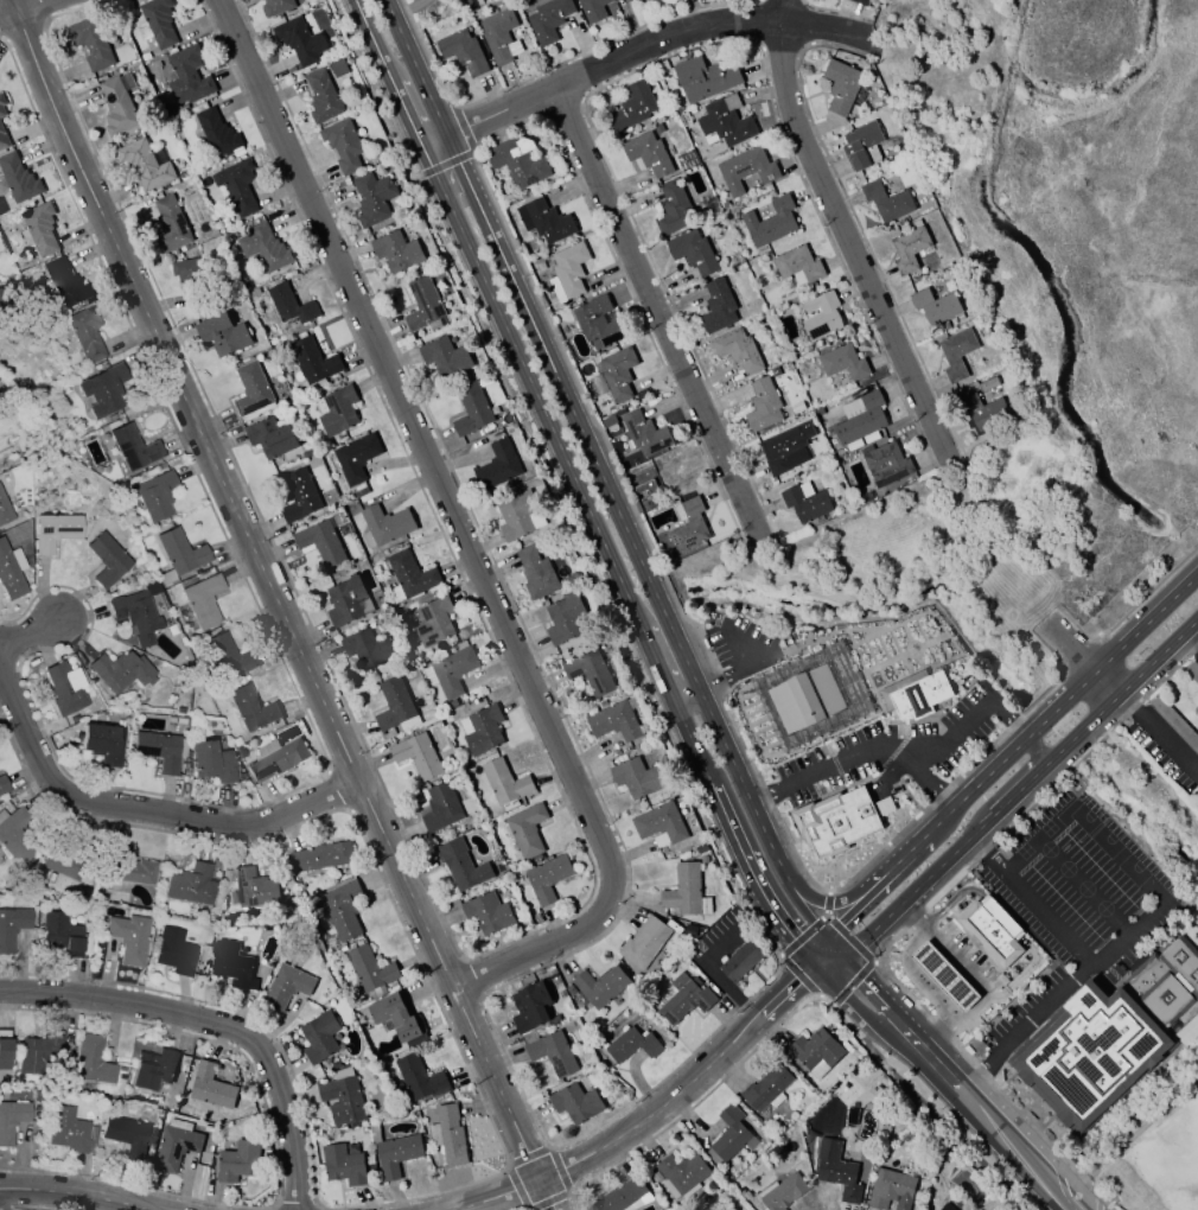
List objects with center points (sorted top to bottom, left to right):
building: (531, 0)
building: (641, 0)
building: (643, 1)
building: (861, 2)
road: (25, 7)
building: (275, 7)
building: (593, 9)
building: (550, 20)
building: (157, 23)
building: (498, 34)
building: (299, 40)
building: (90, 43)
building: (461, 51)
road: (635, 52)
building: (338, 68)
building: (186, 76)
building: (703, 78)
building: (840, 85)
building: (321, 96)
building: (1, 104)
building: (119, 104)
building: (632, 107)
building: (725, 121)
building: (217, 134)
building: (2, 139)
building: (343, 145)
building: (860, 145)
building: (648, 153)
building: (144, 164)
building: (517, 164)
building: (745, 170)
building: (18, 179)
building: (236, 185)
building: (372, 198)
building: (886, 200)
building: (671, 208)
building: (544, 221)
building: (770, 222)
building: (170, 224)
building: (39, 229)
road: (845, 230)
building: (263, 248)
building: (909, 248)
building: (396, 251)
building: (693, 251)
building: (797, 265)
building: (186, 272)
building: (567, 272)
building: (64, 284)
building: (0, 292)
building: (422, 304)
building: (289, 305)
building: (935, 306)
road: (658, 307)
building: (716, 307)
building: (820, 316)
building: (594, 320)
building: (85, 332)
building: (222, 335)
building: (737, 350)
building: (956, 354)
building: (445, 357)
building: (842, 362)
building: (313, 363)
building: (614, 375)
building: (988, 383)
building: (103, 390)
building: (251, 393)
building: (763, 405)
building: (470, 409)
building: (336, 410)
building: (982, 412)
building: (862, 419)
building: (607, 421)
road: (580, 434)
building: (644, 434)
building: (270, 438)
building: (133, 447)
building: (786, 448)
building: (356, 456)
building: (885, 464)
building: (497, 465)
building: (5, 476)
road: (575, 488)
building: (644, 488)
building: (299, 495)
building: (155, 496)
building: (804, 503)
building: (5, 510)
building: (516, 517)
building: (688, 523)
building: (384, 526)
road: (458, 529)
building: (53, 531)
building: (320, 541)
building: (180, 552)
building: (107, 560)
building: (11, 572)
building: (536, 573)
building: (409, 578)
building: (202, 600)
building: (344, 600)
road: (279, 606)
building: (138, 612)
building: (565, 619)
building: (432, 620)
road: (31, 636)
road: (1191, 639)
building: (367, 649)
road: (743, 649)
building: (228, 657)
road: (1087, 665)
building: (120, 671)
building: (450, 671)
building: (590, 671)
road: (744, 673)
building: (1192, 673)
building: (64, 688)
road: (1123, 692)
building: (915, 694)
building: (807, 699)
road: (1068, 699)
building: (395, 706)
road: (1126, 706)
building: (250, 708)
building: (839, 719)
building: (613, 721)
building: (1174, 722)
building: (482, 730)
building: (102, 743)
road: (1166, 746)
building: (159, 750)
road: (893, 751)
building: (240, 752)
building: (418, 756)
building: (275, 758)
building: (210, 762)
building: (636, 777)
road: (926, 782)
building: (504, 783)
building: (2, 785)
road: (1020, 790)
road: (765, 800)
building: (440, 807)
road: (149, 811)
building: (836, 822)
building: (659, 824)
building: (525, 829)
building: (14, 836)
road: (1038, 842)
road: (977, 848)
road: (912, 851)
building: (320, 856)
road: (1119, 856)
building: (63, 865)
building: (460, 865)
building: (127, 867)
building: (547, 878)
building: (191, 885)
road: (917, 887)
building: (254, 889)
road: (1084, 890)
building: (686, 892)
road: (828, 903)
road: (796, 906)
road: (856, 909)
building: (342, 910)
road: (1040, 912)
building: (486, 913)
road: (969, 921)
building: (11, 928)
building: (992, 930)
building: (59, 934)
road: (1129, 937)
building: (128, 938)
traffic signals: (826, 940)
building: (644, 942)
road: (835, 948)
road: (820, 951)
building: (174, 953)
traffic signals: (845, 957)
building: (740, 961)
road: (829, 961)
building: (231, 964)
traffic signals: (814, 964)
building: (370, 969)
building: (943, 976)
road: (937, 979)
road: (994, 979)
building: (286, 986)
building: (600, 986)
road: (958, 989)
road: (885, 998)
building: (684, 999)
building: (529, 1007)
road: (859, 1012)
building: (397, 1018)
road: (217, 1023)
road: (1022, 1026)
building: (319, 1037)
building: (1111, 1037)
building: (631, 1045)
building: (39, 1052)
building: (816, 1052)
building: (553, 1053)
building: (4, 1058)
building: (93, 1062)
building: (153, 1069)
building: (419, 1078)
building: (210, 1087)
building: (766, 1089)
building: (342, 1098)
building: (575, 1102)
building: (852, 1115)
road: (652, 1117)
building: (11, 1120)
road: (992, 1128)
building: (69, 1131)
building: (126, 1135)
building: (448, 1135)
building: (729, 1136)
building: (176, 1145)
building: (396, 1155)
building: (237, 1163)
building: (343, 1166)
building: (836, 1170)
building: (681, 1174)
building: (890, 1190)
building: (782, 1192)
road: (71, 1197)
building: (622, 1197)
building: (945, 1206)

